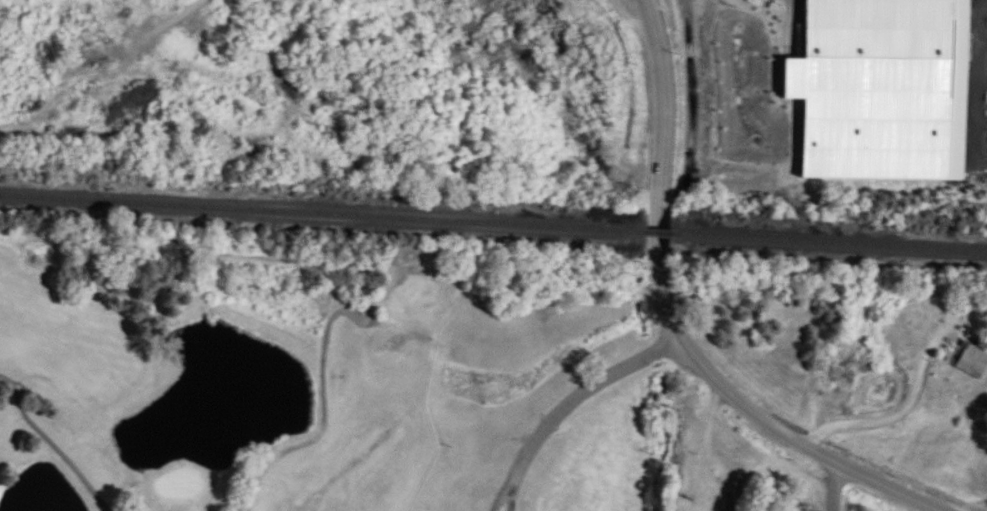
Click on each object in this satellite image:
road: (629, 17)
road: (163, 25)
road: (984, 38)
road: (982, 82)
road: (984, 82)
road: (984, 119)
road: (662, 170)
railway: (320, 201)
railway: (658, 220)
railway: (831, 230)
road: (372, 312)
building: (970, 362)
road: (570, 404)
road: (899, 411)
road: (323, 429)
road: (52, 442)
road: (802, 442)
road: (837, 487)
building: (720, 492)

